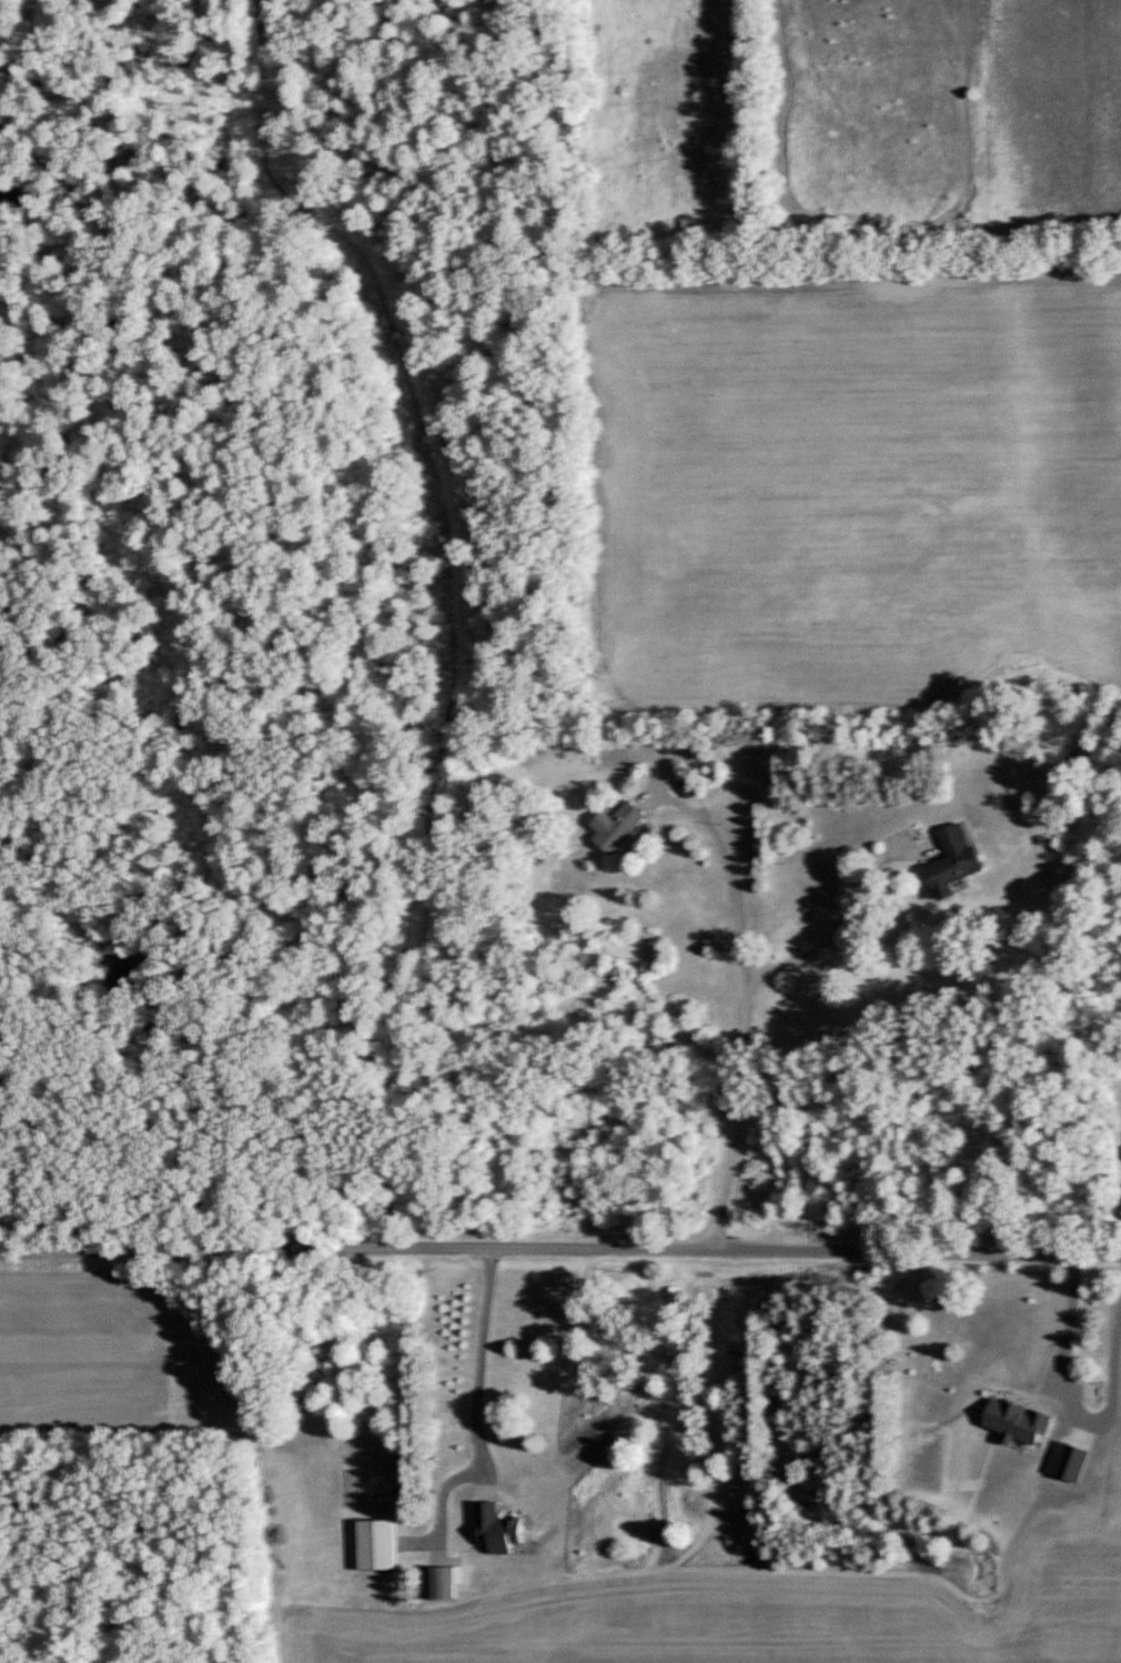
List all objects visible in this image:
building: (690, 784)
building: (619, 827)
building: (953, 860)
road: (837, 919)
road: (744, 1009)
road: (560, 1243)
road: (1069, 1321)
building: (1016, 1342)
road: (477, 1401)
building: (498, 1464)
building: (376, 1543)
building: (442, 1581)

